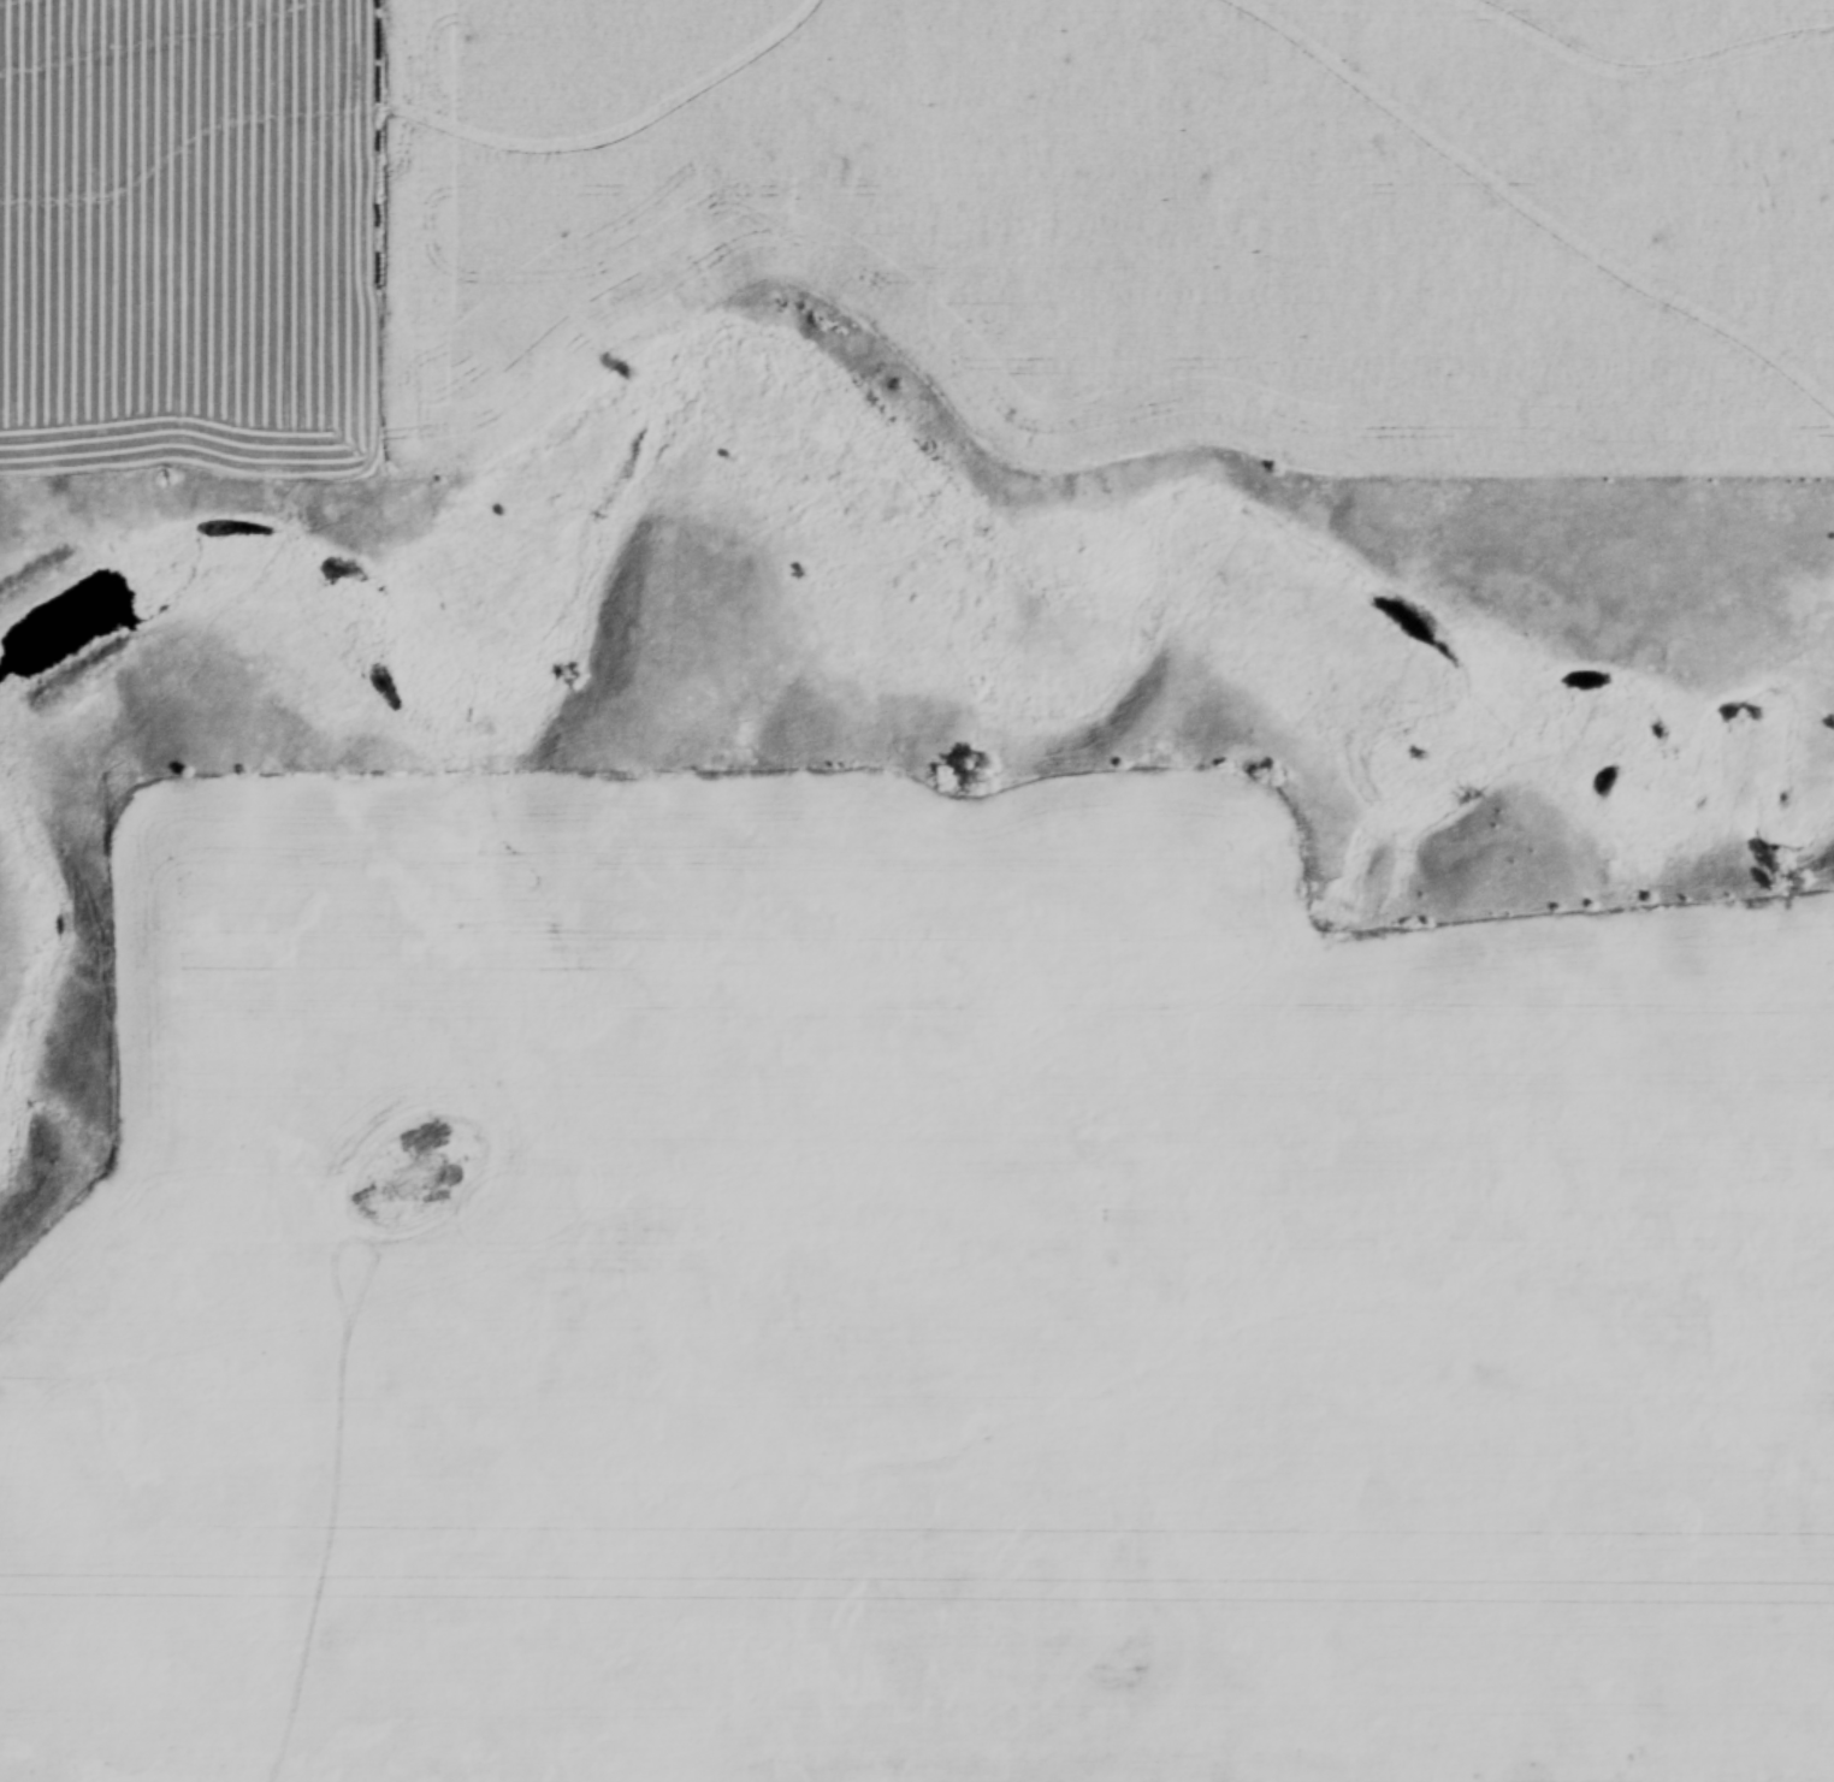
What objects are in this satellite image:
river: (69, 611)
river: (8, 630)
river: (12, 651)

